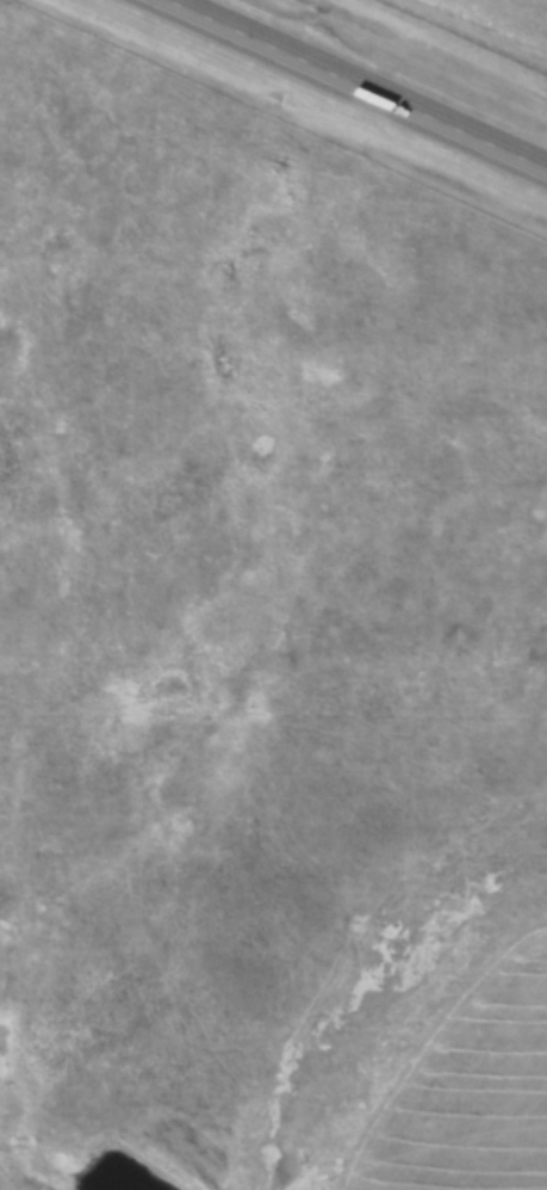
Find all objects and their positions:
road: (355, 86)

